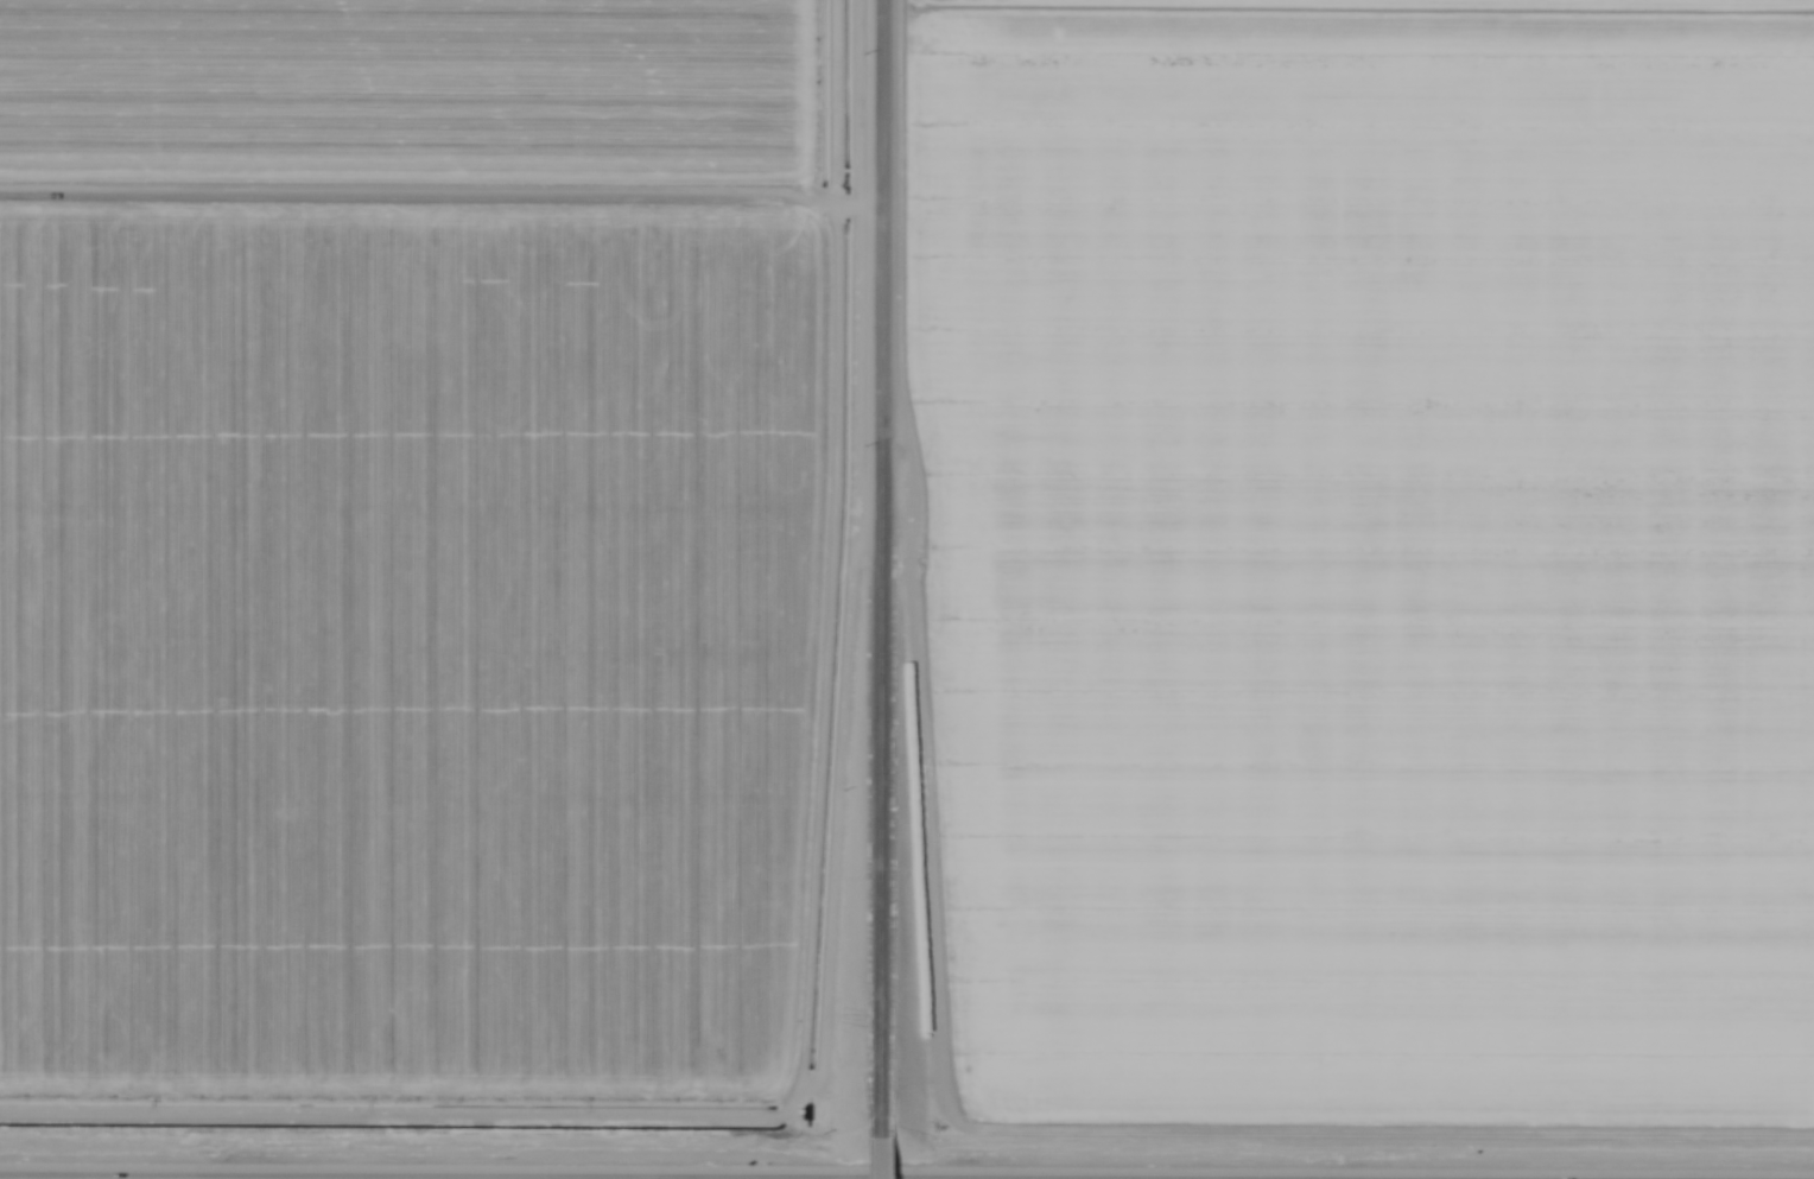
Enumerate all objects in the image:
road: (887, 554)
road: (879, 1145)

